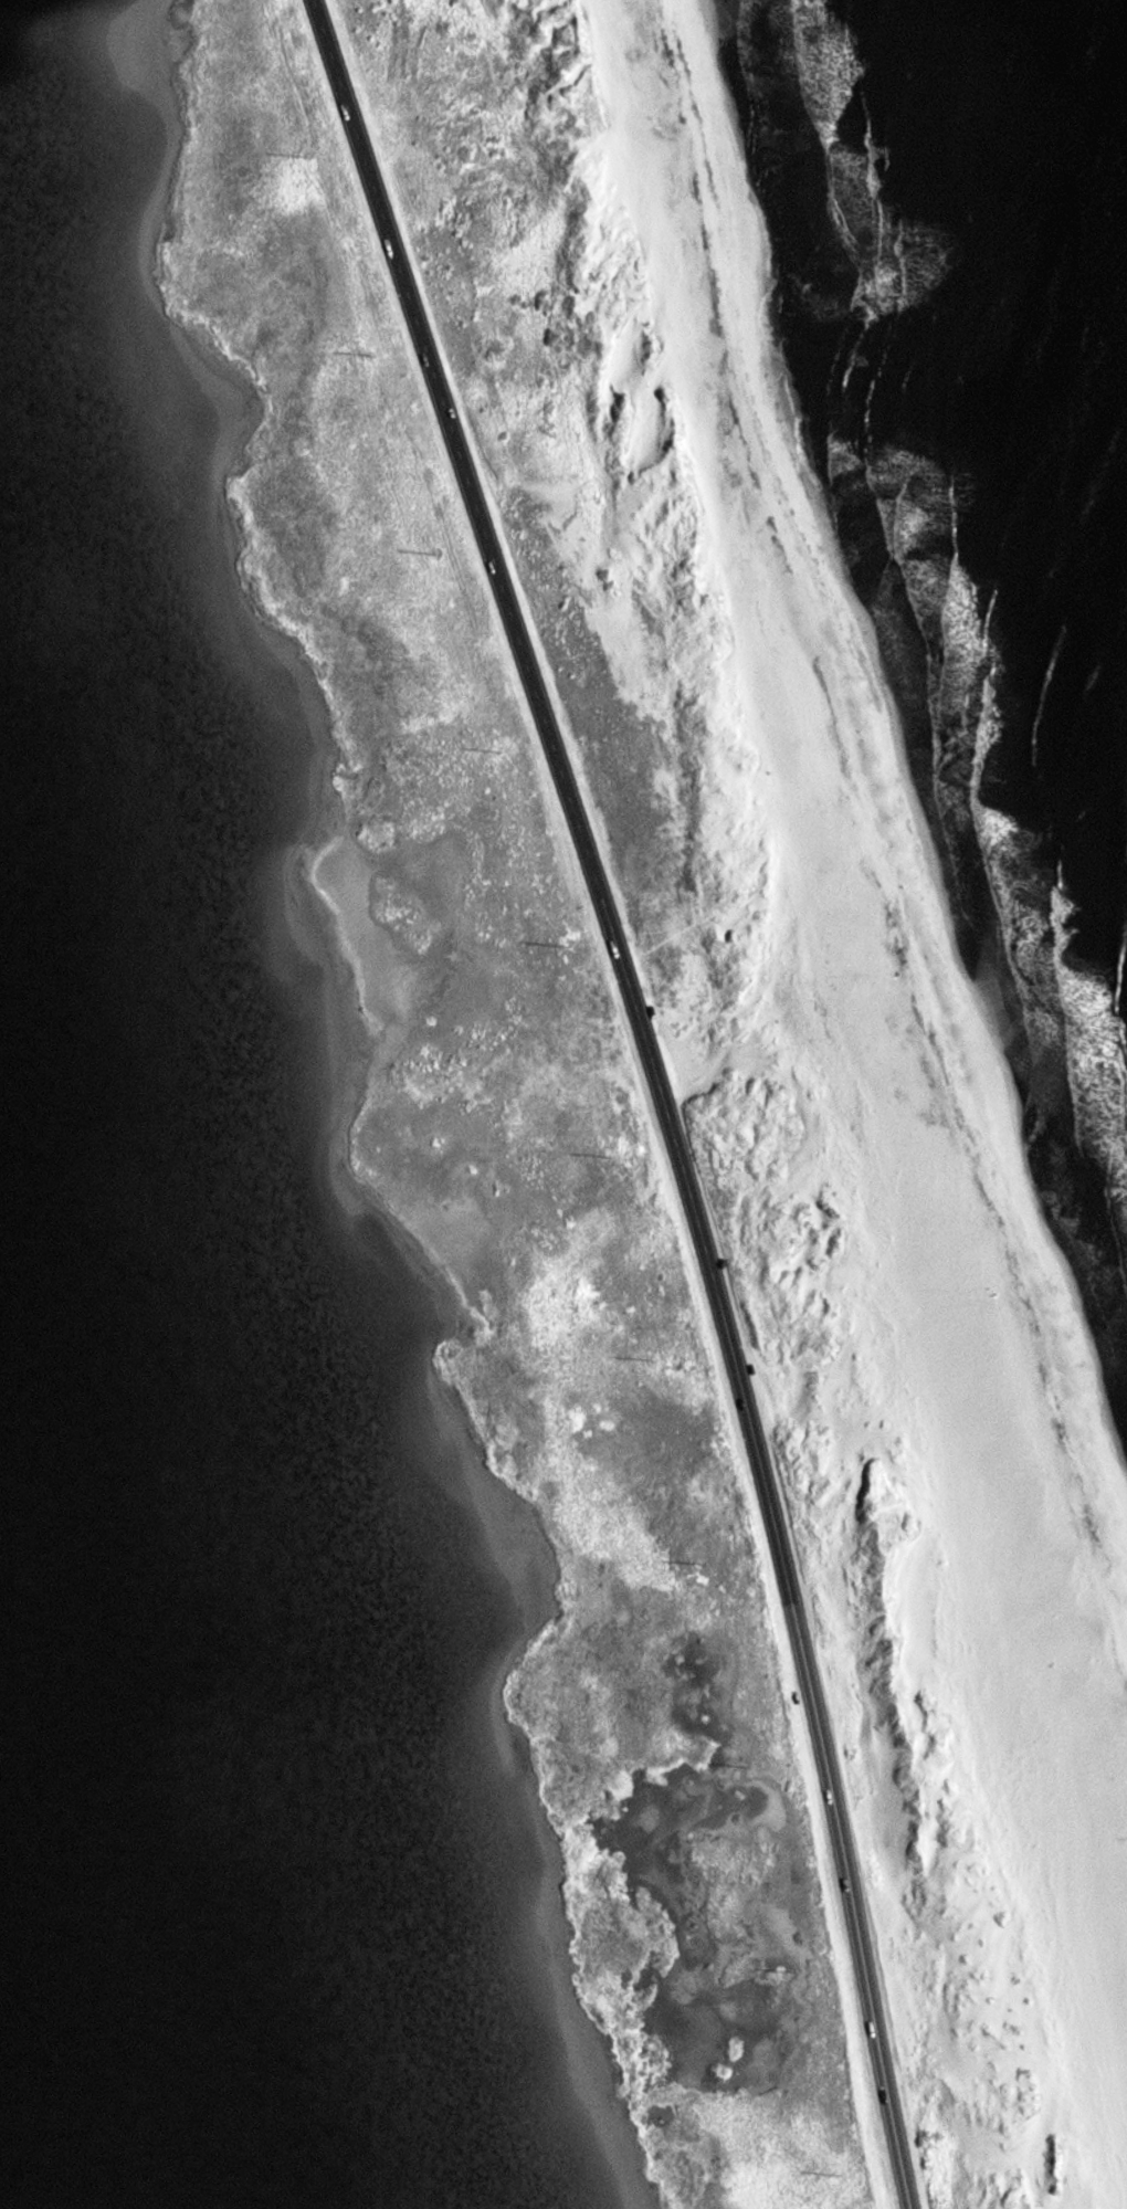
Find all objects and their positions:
power tower: (308, 156)
power tower: (370, 356)
power tower: (439, 555)
power tower: (498, 751)
power tower: (565, 948)
road: (907, 1054)
road: (660, 1091)
power tower: (605, 1150)
power tower: (653, 1359)
power tower: (701, 1561)
power tower: (744, 1763)
power tower: (791, 1974)
power tower: (838, 2171)

